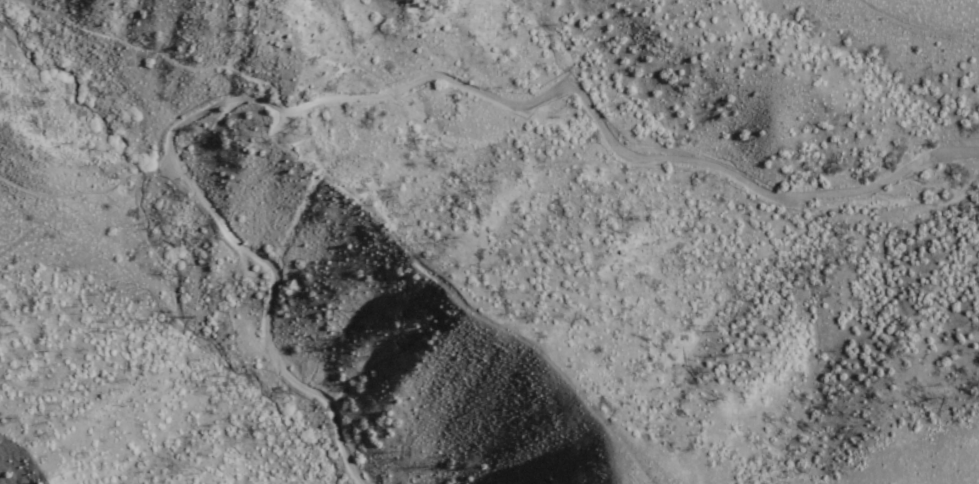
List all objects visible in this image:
road: (153, 55)
road: (390, 87)
road: (87, 196)

